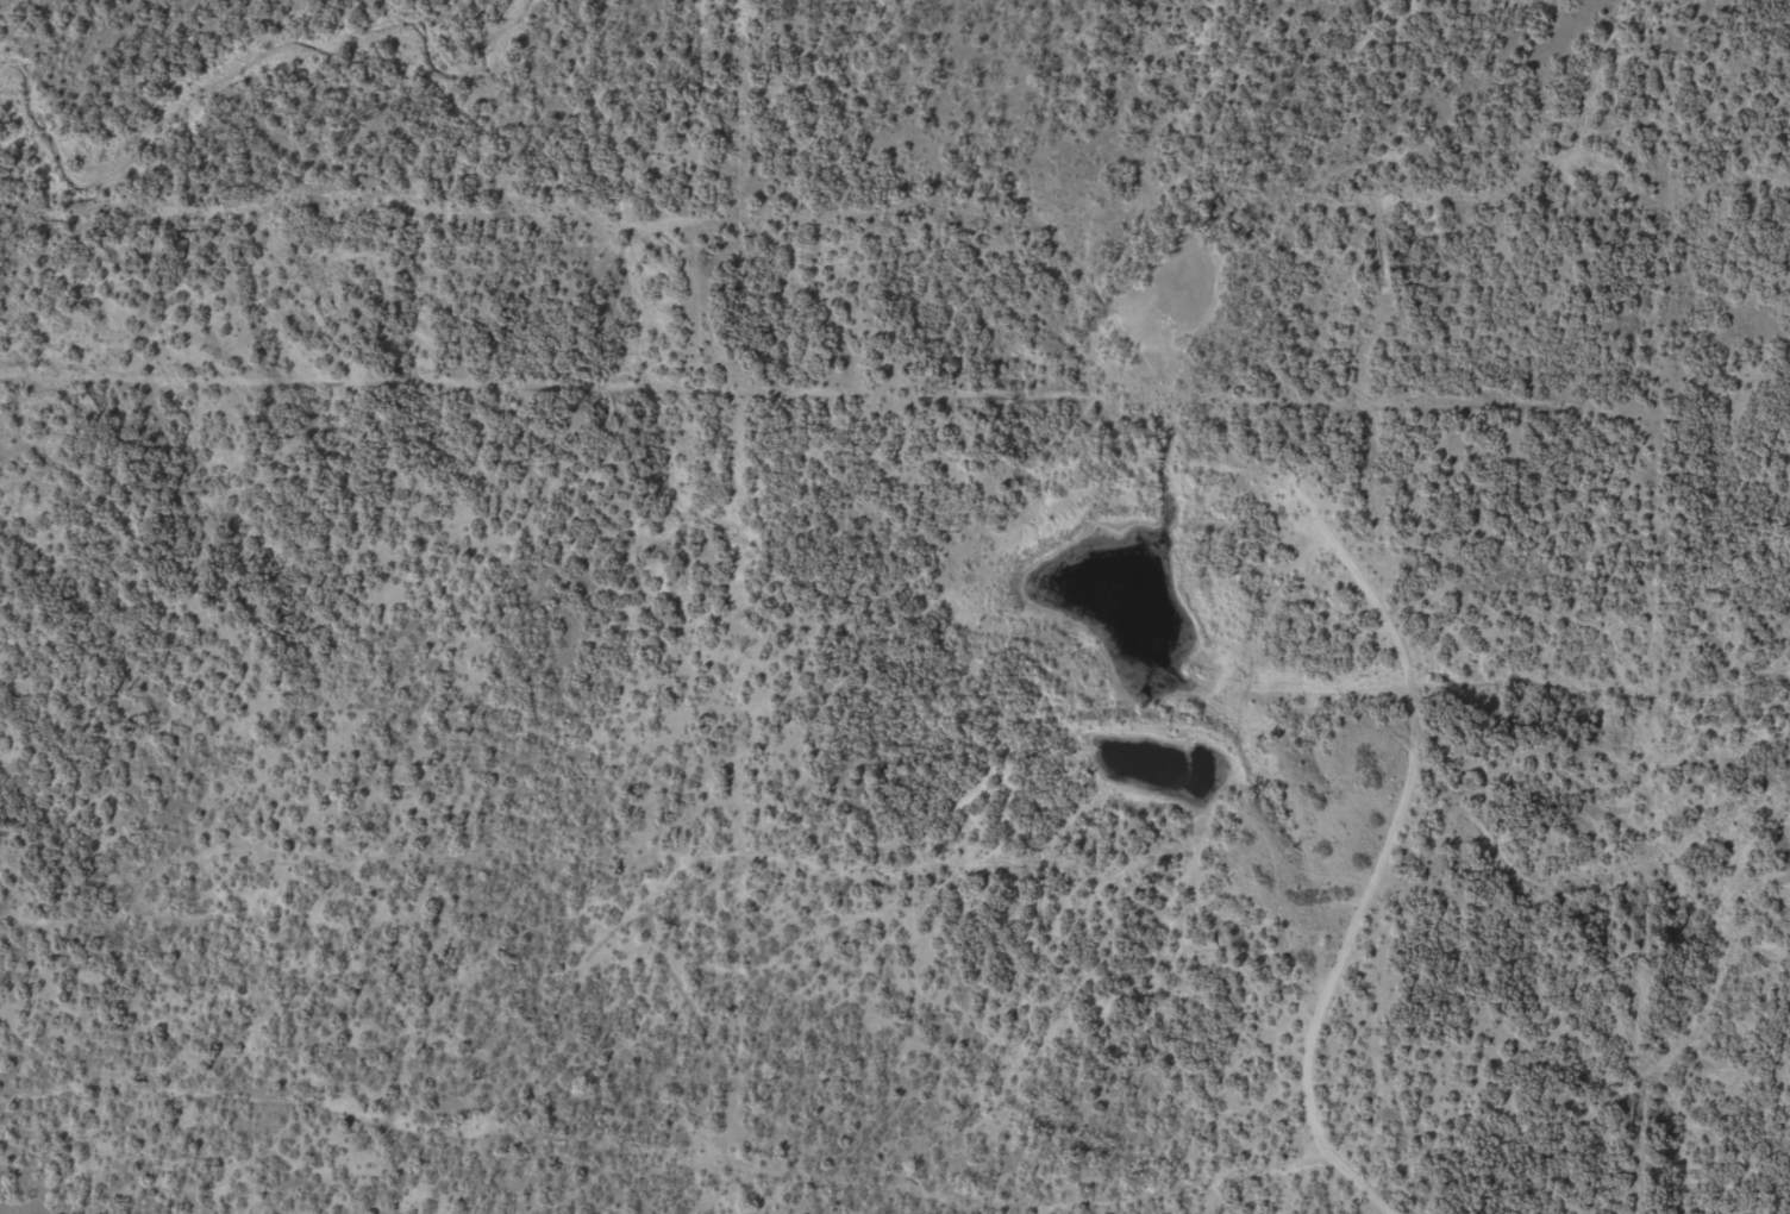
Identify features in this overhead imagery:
road: (1342, 953)

